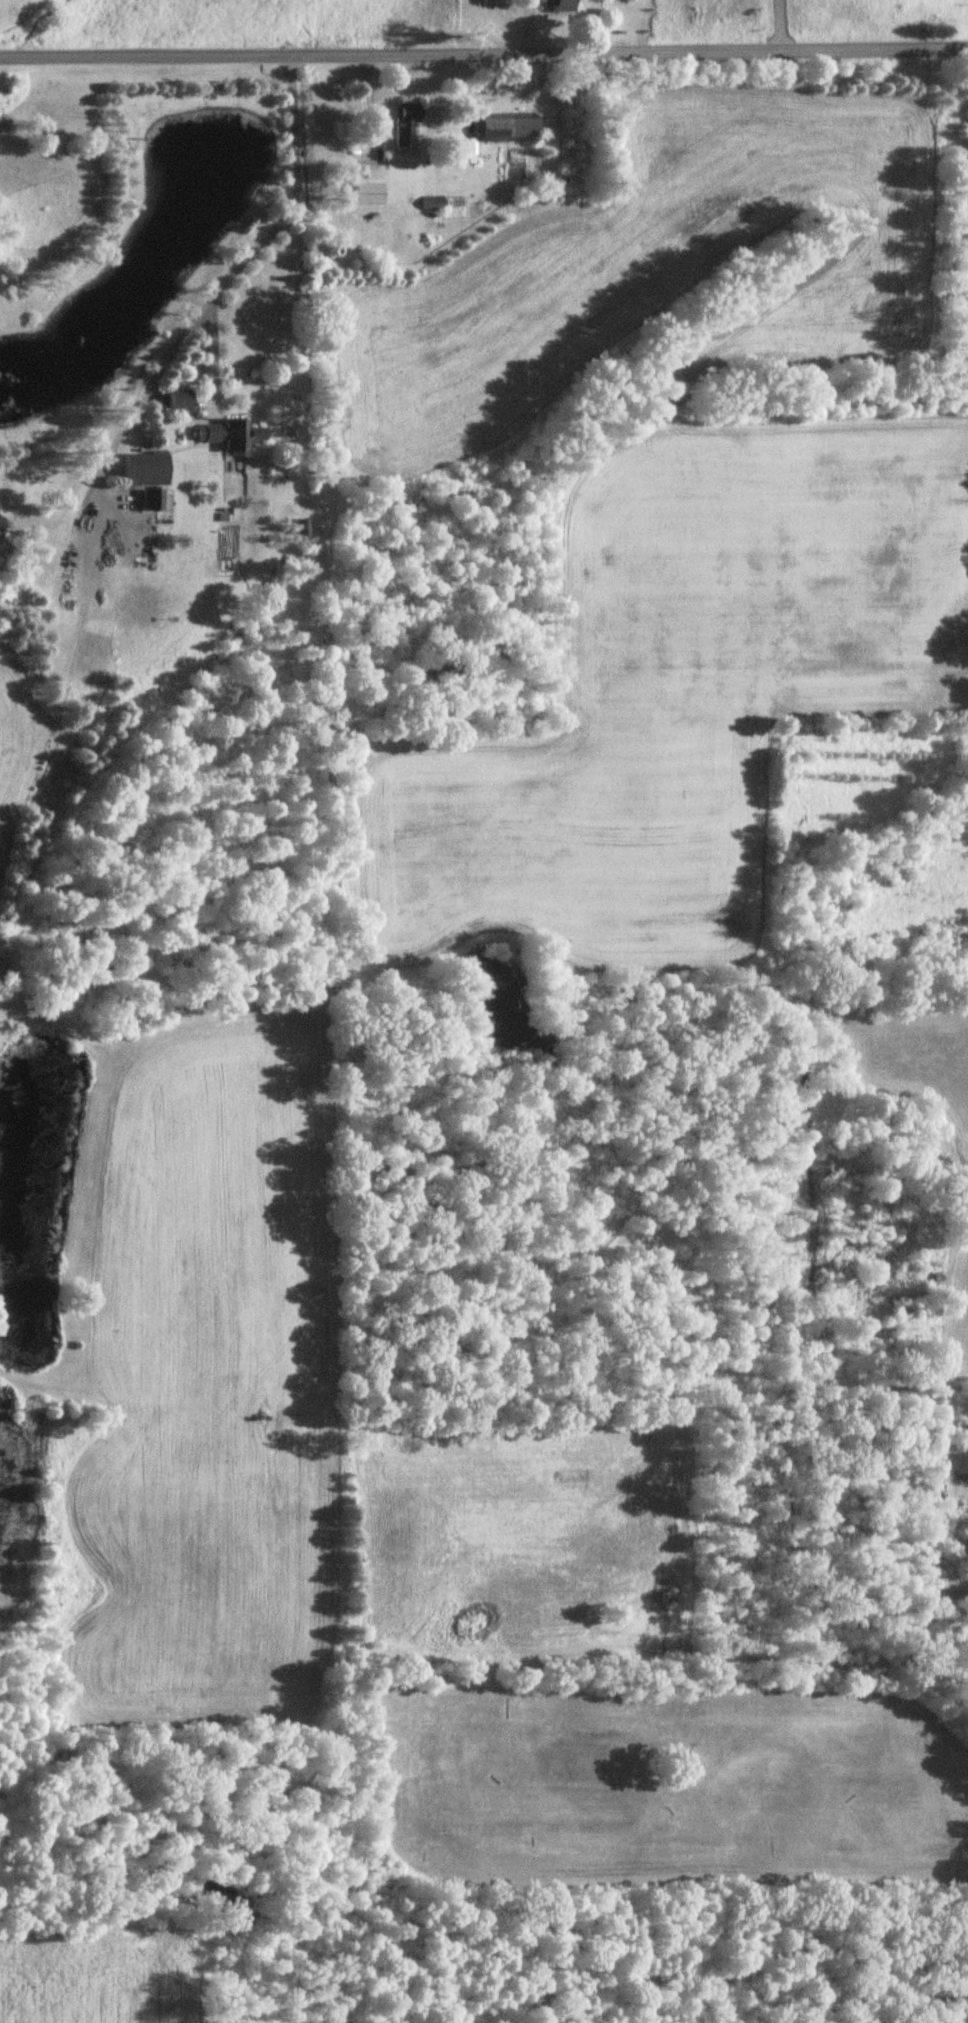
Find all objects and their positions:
building: (563, 7)
road: (529, 24)
road: (484, 49)
building: (406, 126)
building: (512, 130)
building: (358, 232)
road: (215, 305)
building: (181, 401)
building: (233, 436)
building: (146, 470)
building: (156, 501)

